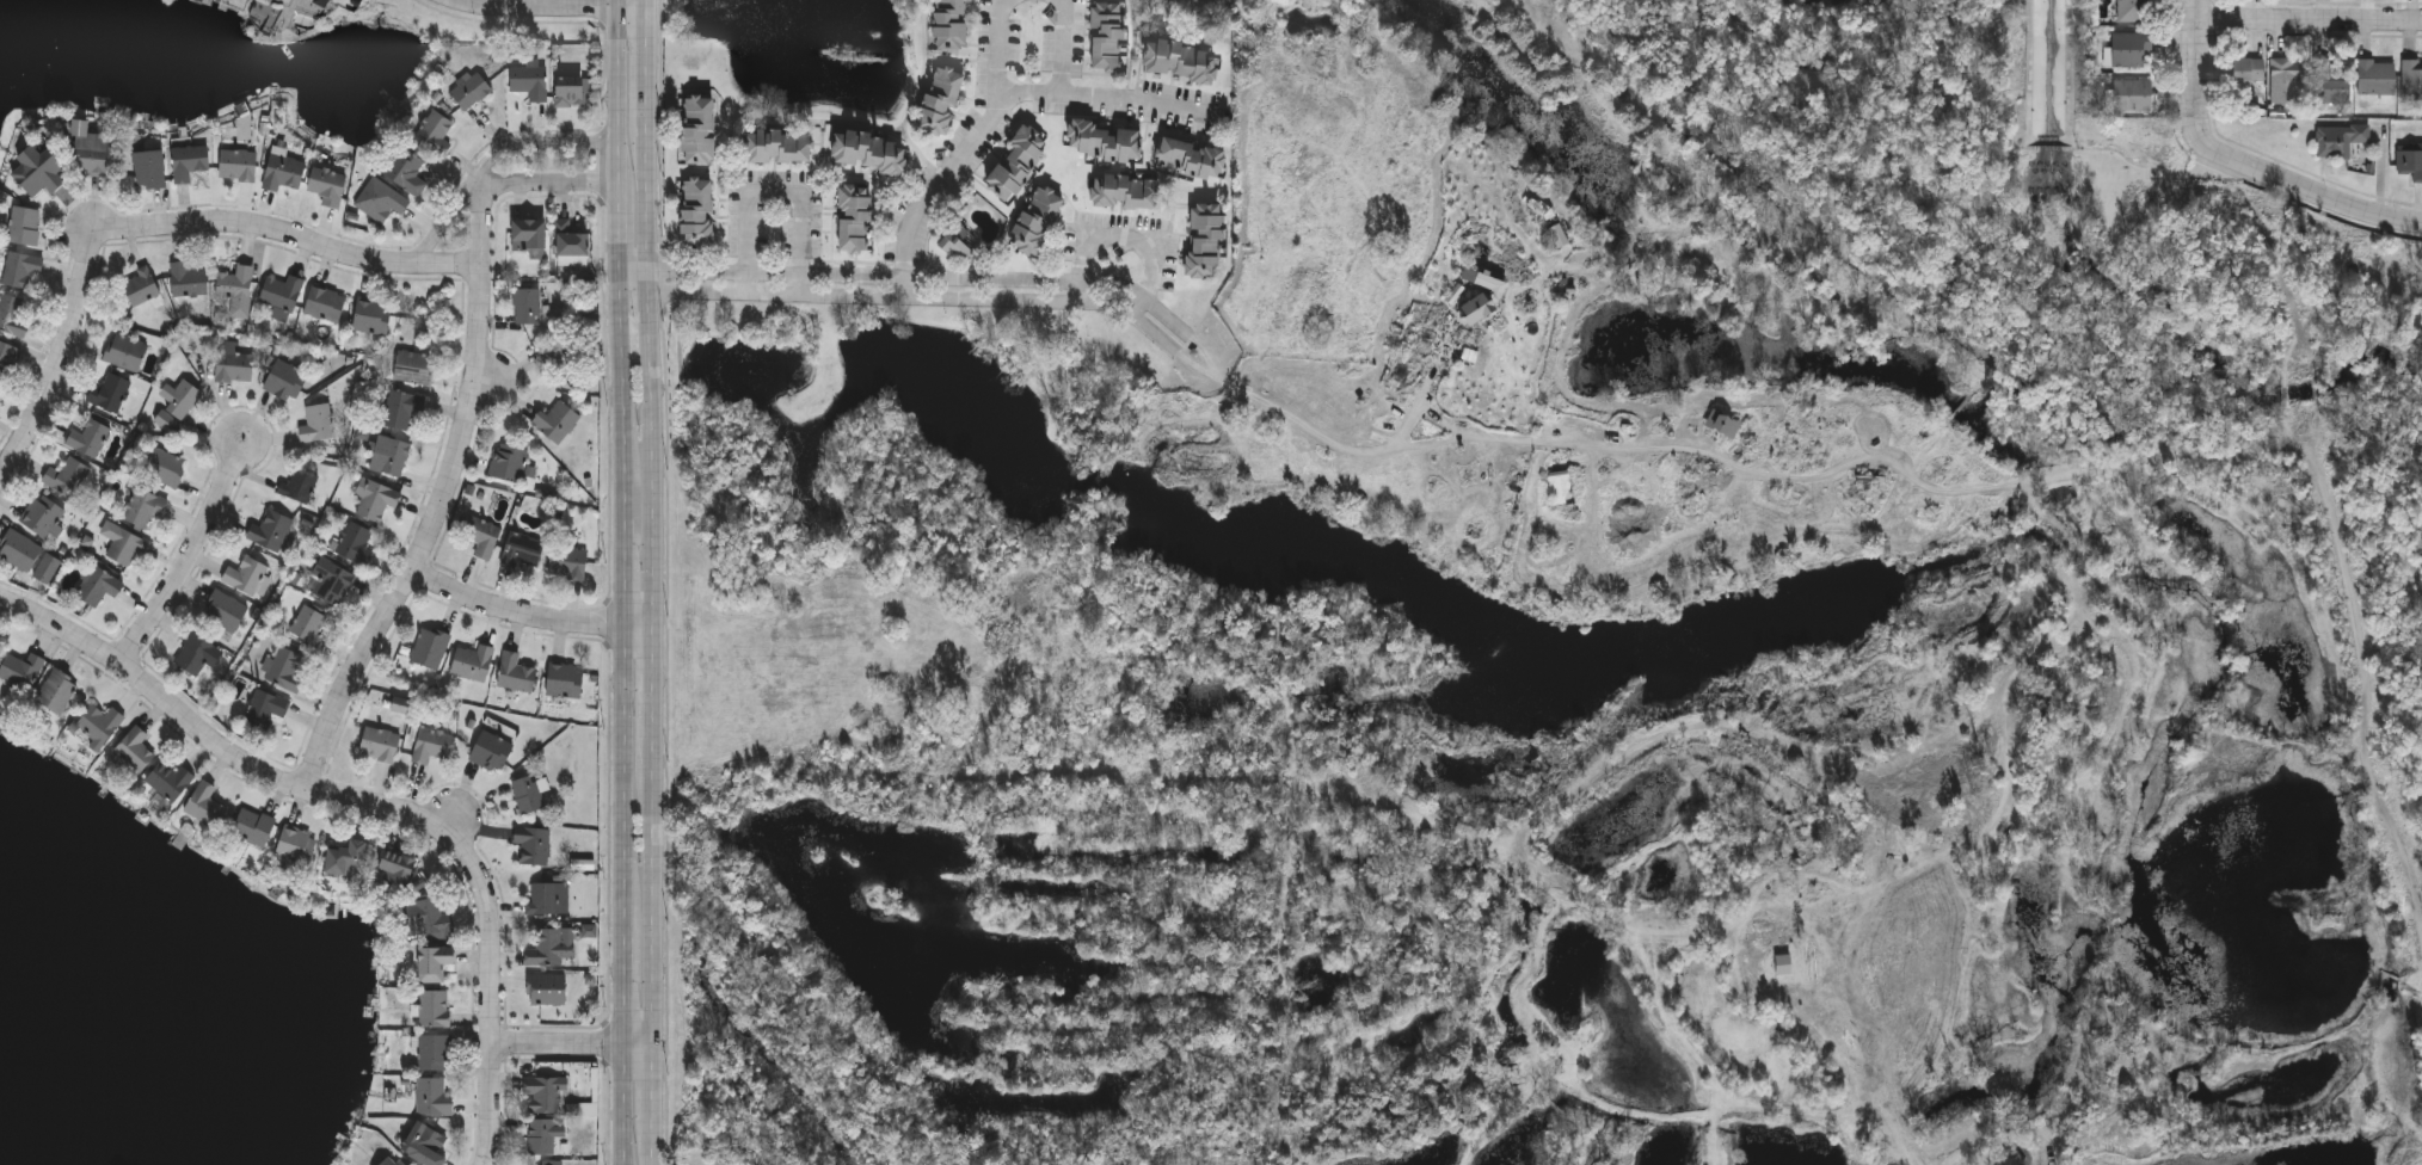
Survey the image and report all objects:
building: (324, 1)
building: (2134, 11)
road: (547, 12)
road: (2309, 18)
building: (951, 23)
building: (1105, 35)
road: (1069, 44)
building: (2128, 48)
road: (995, 49)
building: (1180, 58)
building: (2245, 69)
building: (2374, 76)
building: (530, 79)
building: (2411, 79)
building: (2287, 81)
building: (2330, 84)
building: (471, 90)
building: (572, 91)
building: (2131, 95)
building: (939, 99)
road: (617, 106)
road: (994, 111)
building: (697, 129)
building: (434, 131)
building: (1101, 140)
building: (2338, 140)
building: (774, 143)
road: (540, 146)
building: (868, 150)
building: (91, 154)
building: (1190, 158)
building: (2410, 160)
building: (189, 161)
building: (1016, 162)
road: (2242, 162)
building: (238, 164)
building: (148, 168)
building: (283, 171)
building: (407, 171)
building: (39, 177)
building: (327, 185)
road: (551, 187)
road: (776, 190)
building: (1124, 190)
building: (385, 202)
building: (696, 209)
building: (853, 216)
building: (1034, 218)
road: (160, 223)
building: (24, 224)
building: (529, 235)
building: (1560, 238)
building: (570, 239)
building: (1204, 239)
road: (617, 240)
road: (1127, 240)
building: (20, 267)
road: (914, 276)
building: (188, 279)
road: (619, 281)
building: (141, 285)
building: (236, 289)
building: (282, 295)
road: (904, 300)
building: (325, 303)
building: (527, 304)
building: (1481, 310)
building: (12, 314)
building: (371, 315)
building: (125, 351)
building: (563, 352)
road: (1206, 355)
building: (7, 358)
building: (234, 362)
road: (1199, 364)
building: (413, 365)
building: (284, 380)
building: (179, 397)
building: (402, 407)
road: (620, 407)
building: (555, 420)
building: (316, 423)
building: (1722, 426)
building: (88, 437)
road: (1684, 450)
building: (389, 455)
building: (508, 461)
building: (165, 467)
building: (66, 475)
building: (1871, 481)
building: (299, 485)
building: (376, 499)
road: (439, 501)
building: (143, 506)
building: (42, 517)
building: (272, 531)
building: (482, 535)
building: (356, 541)
building: (125, 548)
building: (19, 549)
building: (522, 549)
road: (191, 556)
building: (567, 561)
building: (47, 567)
road: (621, 572)
building: (246, 575)
building: (331, 580)
road: (651, 581)
building: (97, 585)
building: (225, 609)
road: (515, 610)
building: (308, 623)
road: (637, 624)
building: (429, 646)
building: (195, 653)
building: (473, 661)
building: (284, 668)
building: (21, 670)
building: (515, 671)
building: (565, 679)
building: (56, 690)
building: (265, 708)
building: (99, 723)
building: (379, 742)
building: (431, 744)
building: (135, 748)
building: (491, 751)
building: (170, 779)
road: (621, 781)
road: (311, 793)
building: (527, 793)
building: (204, 802)
building: (253, 825)
building: (533, 843)
building: (295, 851)
building: (348, 858)
building: (397, 867)
building: (542, 898)
building: (428, 918)
building: (552, 947)
building: (435, 962)
building: (547, 988)
road: (621, 991)
building: (435, 1009)
road: (555, 1044)
road: (637, 1044)
building: (435, 1052)
building: (543, 1092)
building: (432, 1096)
road: (621, 1104)
road: (490, 1105)
building: (542, 1136)
building: (425, 1145)
building: (2412, 1159)
building: (546, 1164)

